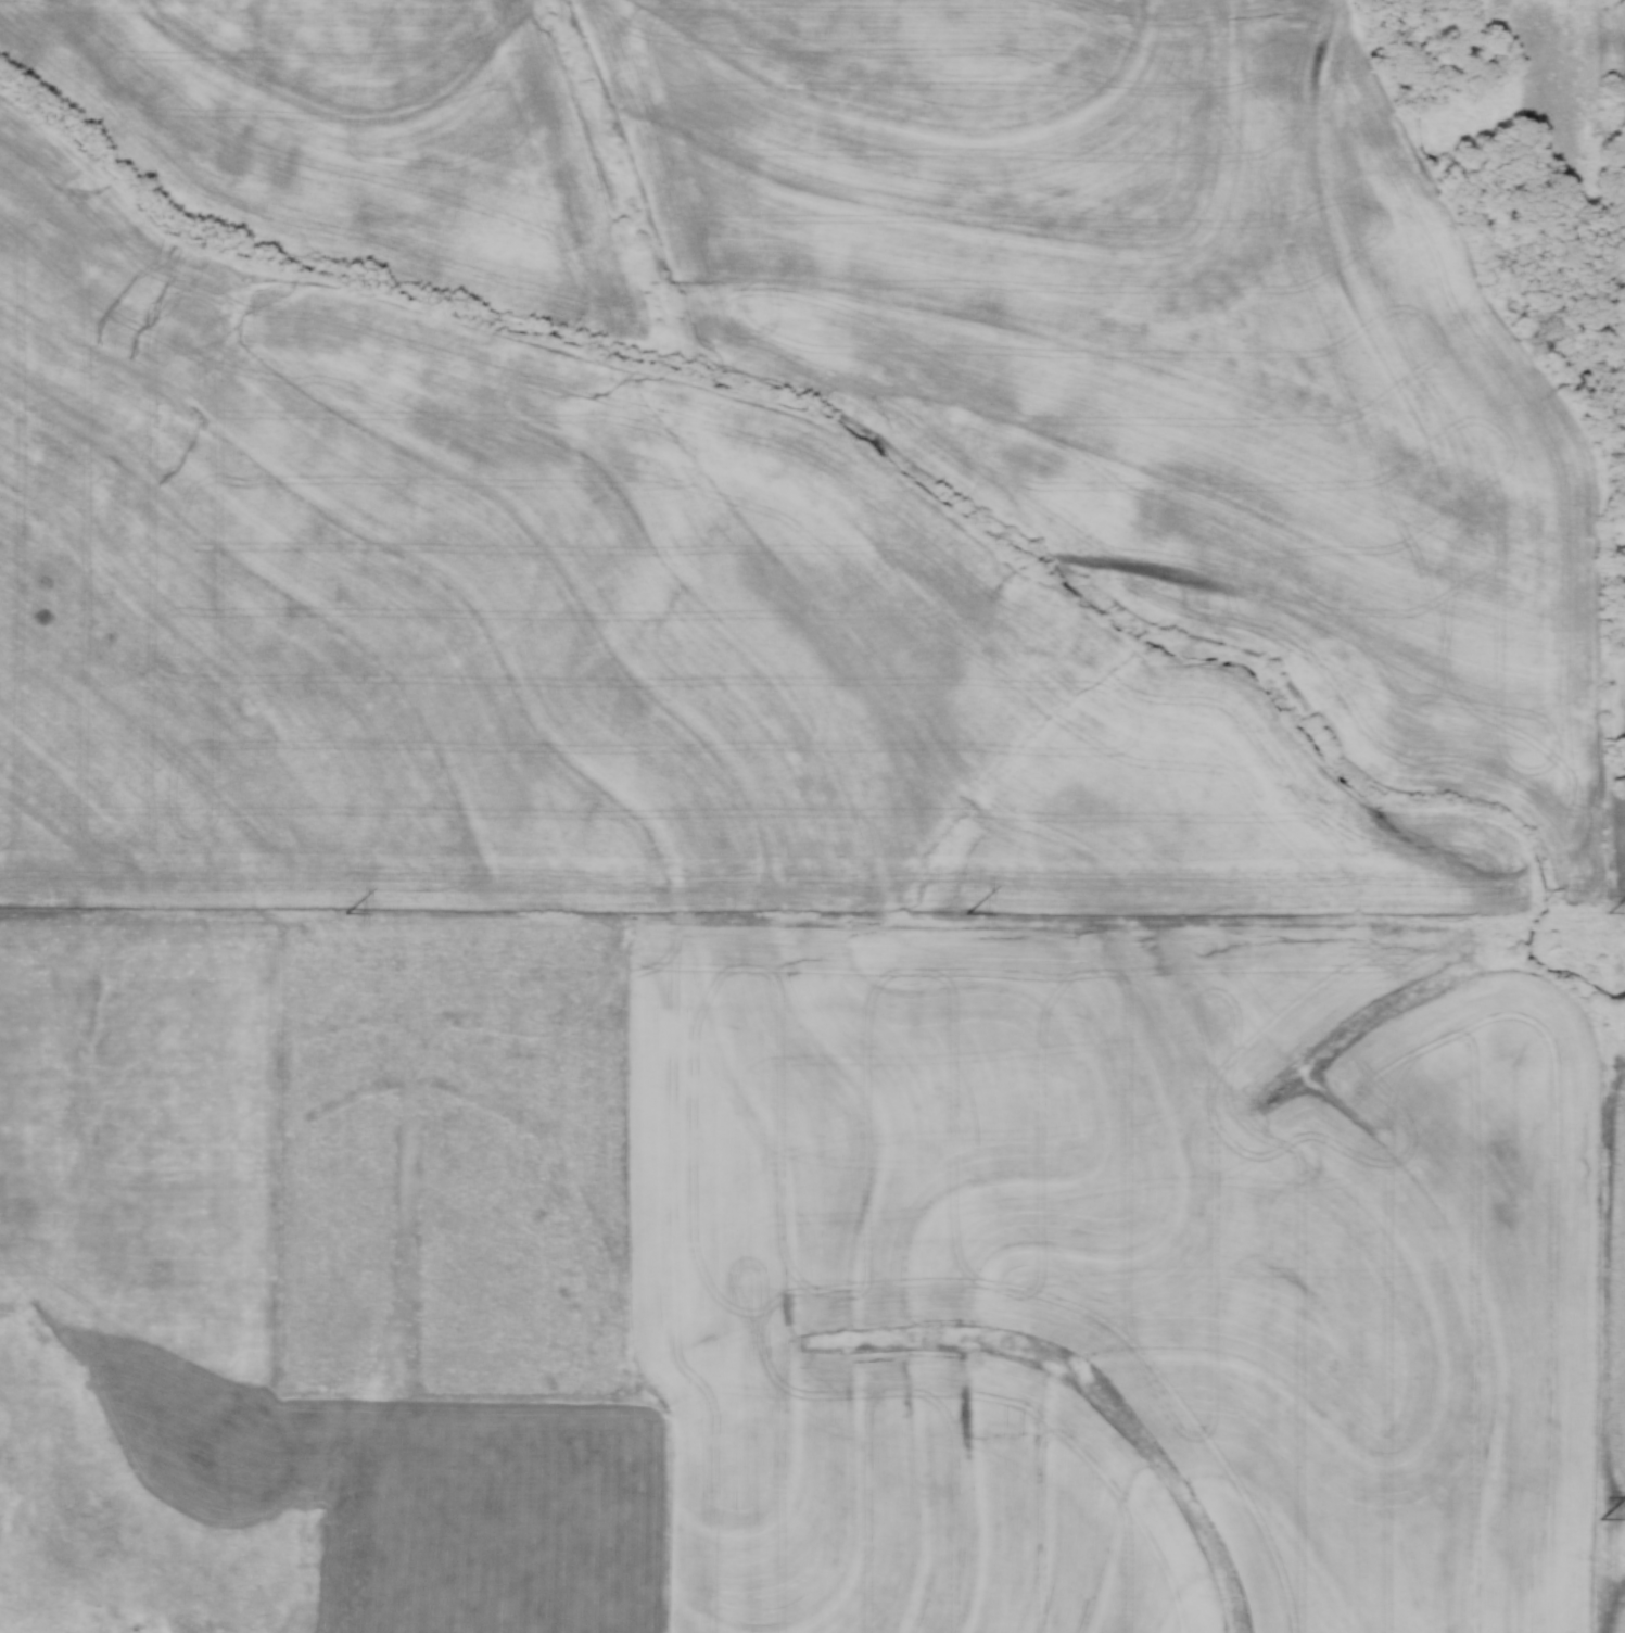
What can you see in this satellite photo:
power tower: (344, 911)
power tower: (966, 911)
power tower: (1604, 912)
power tower: (1600, 1517)

